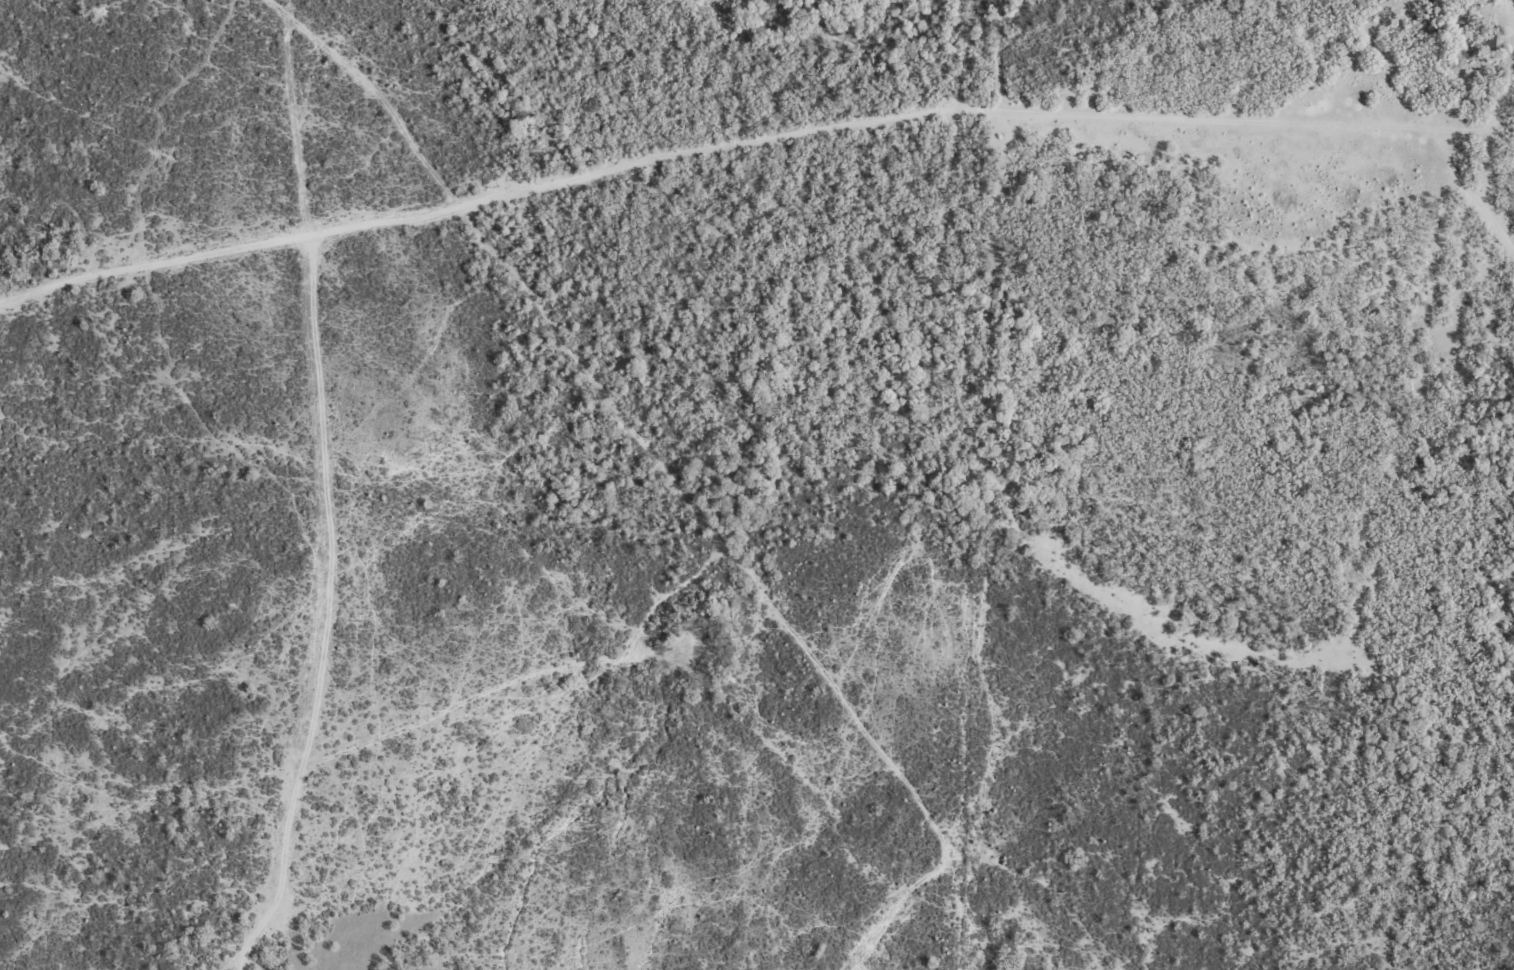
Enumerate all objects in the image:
road: (1489, 171)

